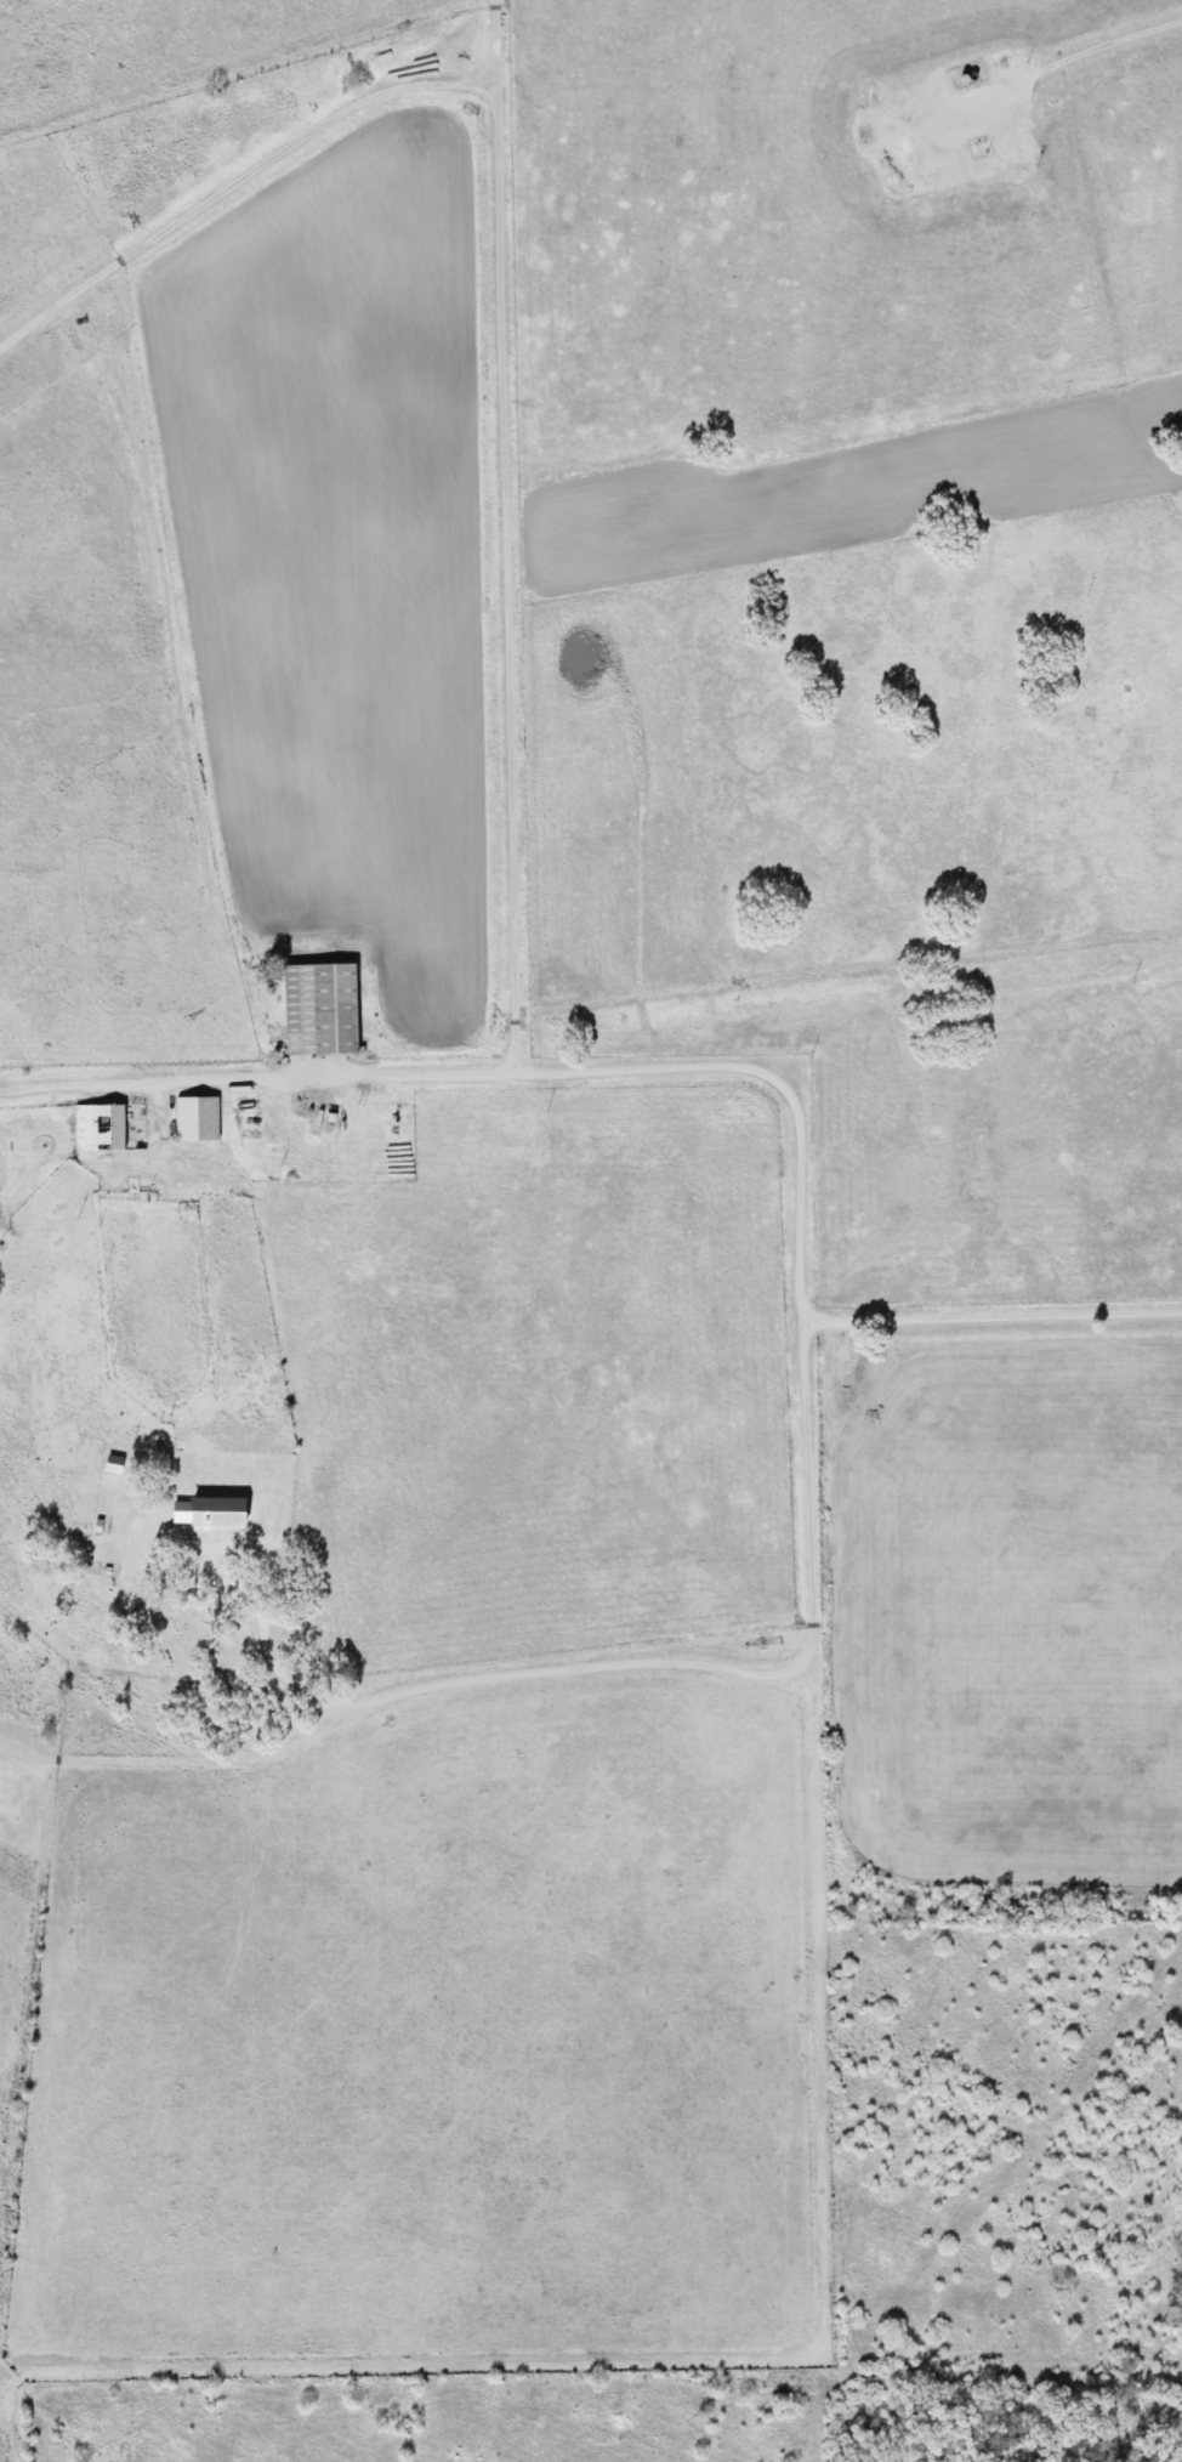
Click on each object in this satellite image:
road: (1065, 59)
road: (507, 535)
building: (316, 1009)
road: (698, 1065)
building: (193, 1118)
building: (106, 1127)
building: (109, 1464)
building: (174, 1511)
building: (212, 1514)
road: (595, 1666)

